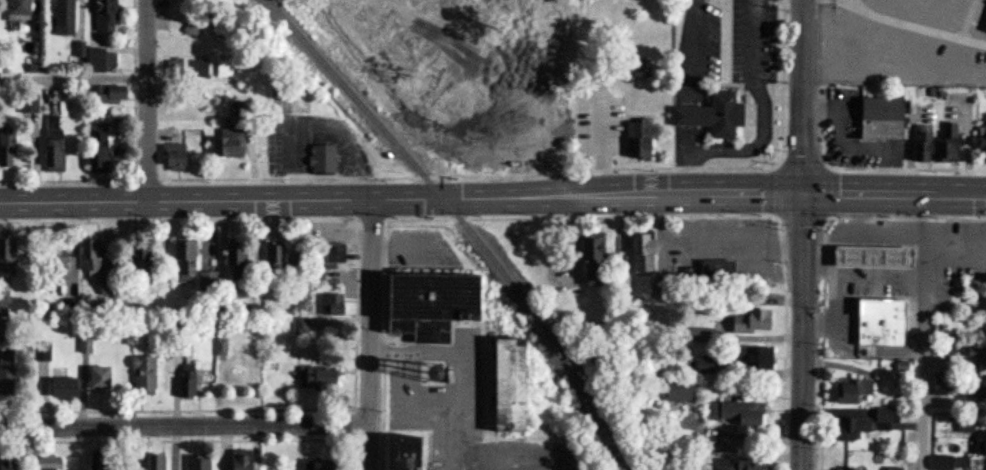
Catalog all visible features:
road: (851, 2)
building: (13, 11)
building: (58, 15)
building: (101, 16)
building: (984, 28)
road: (892, 29)
building: (96, 61)
road: (31, 91)
building: (105, 95)
road: (801, 96)
road: (144, 100)
building: (24, 104)
building: (708, 115)
building: (876, 118)
road: (762, 125)
road: (313, 131)
building: (223, 140)
building: (636, 140)
building: (920, 143)
building: (48, 145)
building: (980, 145)
building: (93, 148)
building: (4, 150)
building: (169, 156)
building: (320, 158)
traffic signals: (800, 192)
road: (493, 198)
railway: (458, 223)
building: (973, 247)
building: (272, 252)
building: (637, 252)
building: (327, 254)
building: (85, 255)
building: (180, 256)
building: (4, 257)
building: (132, 258)
building: (230, 260)
building: (49, 262)
building: (588, 262)
building: (866, 265)
building: (711, 270)
road: (837, 278)
building: (203, 280)
building: (982, 302)
building: (425, 303)
building: (329, 305)
building: (1, 307)
building: (876, 316)
building: (747, 322)
building: (0, 326)
building: (297, 326)
road: (924, 330)
road: (800, 331)
building: (981, 333)
road: (367, 335)
building: (941, 336)
building: (42, 355)
building: (754, 358)
building: (976, 358)
building: (701, 366)
building: (5, 374)
building: (139, 376)
building: (315, 377)
building: (93, 379)
building: (182, 381)
road: (467, 385)
building: (500, 385)
building: (976, 388)
building: (671, 389)
building: (58, 390)
building: (843, 392)
building: (732, 413)
building: (859, 425)
road: (184, 429)
building: (973, 439)
building: (395, 453)
building: (236, 460)
building: (7, 462)
building: (43, 462)
building: (152, 462)
building: (198, 464)
building: (312, 464)
building: (736, 464)
building: (937, 464)
building: (965, 464)
building: (889, 469)

